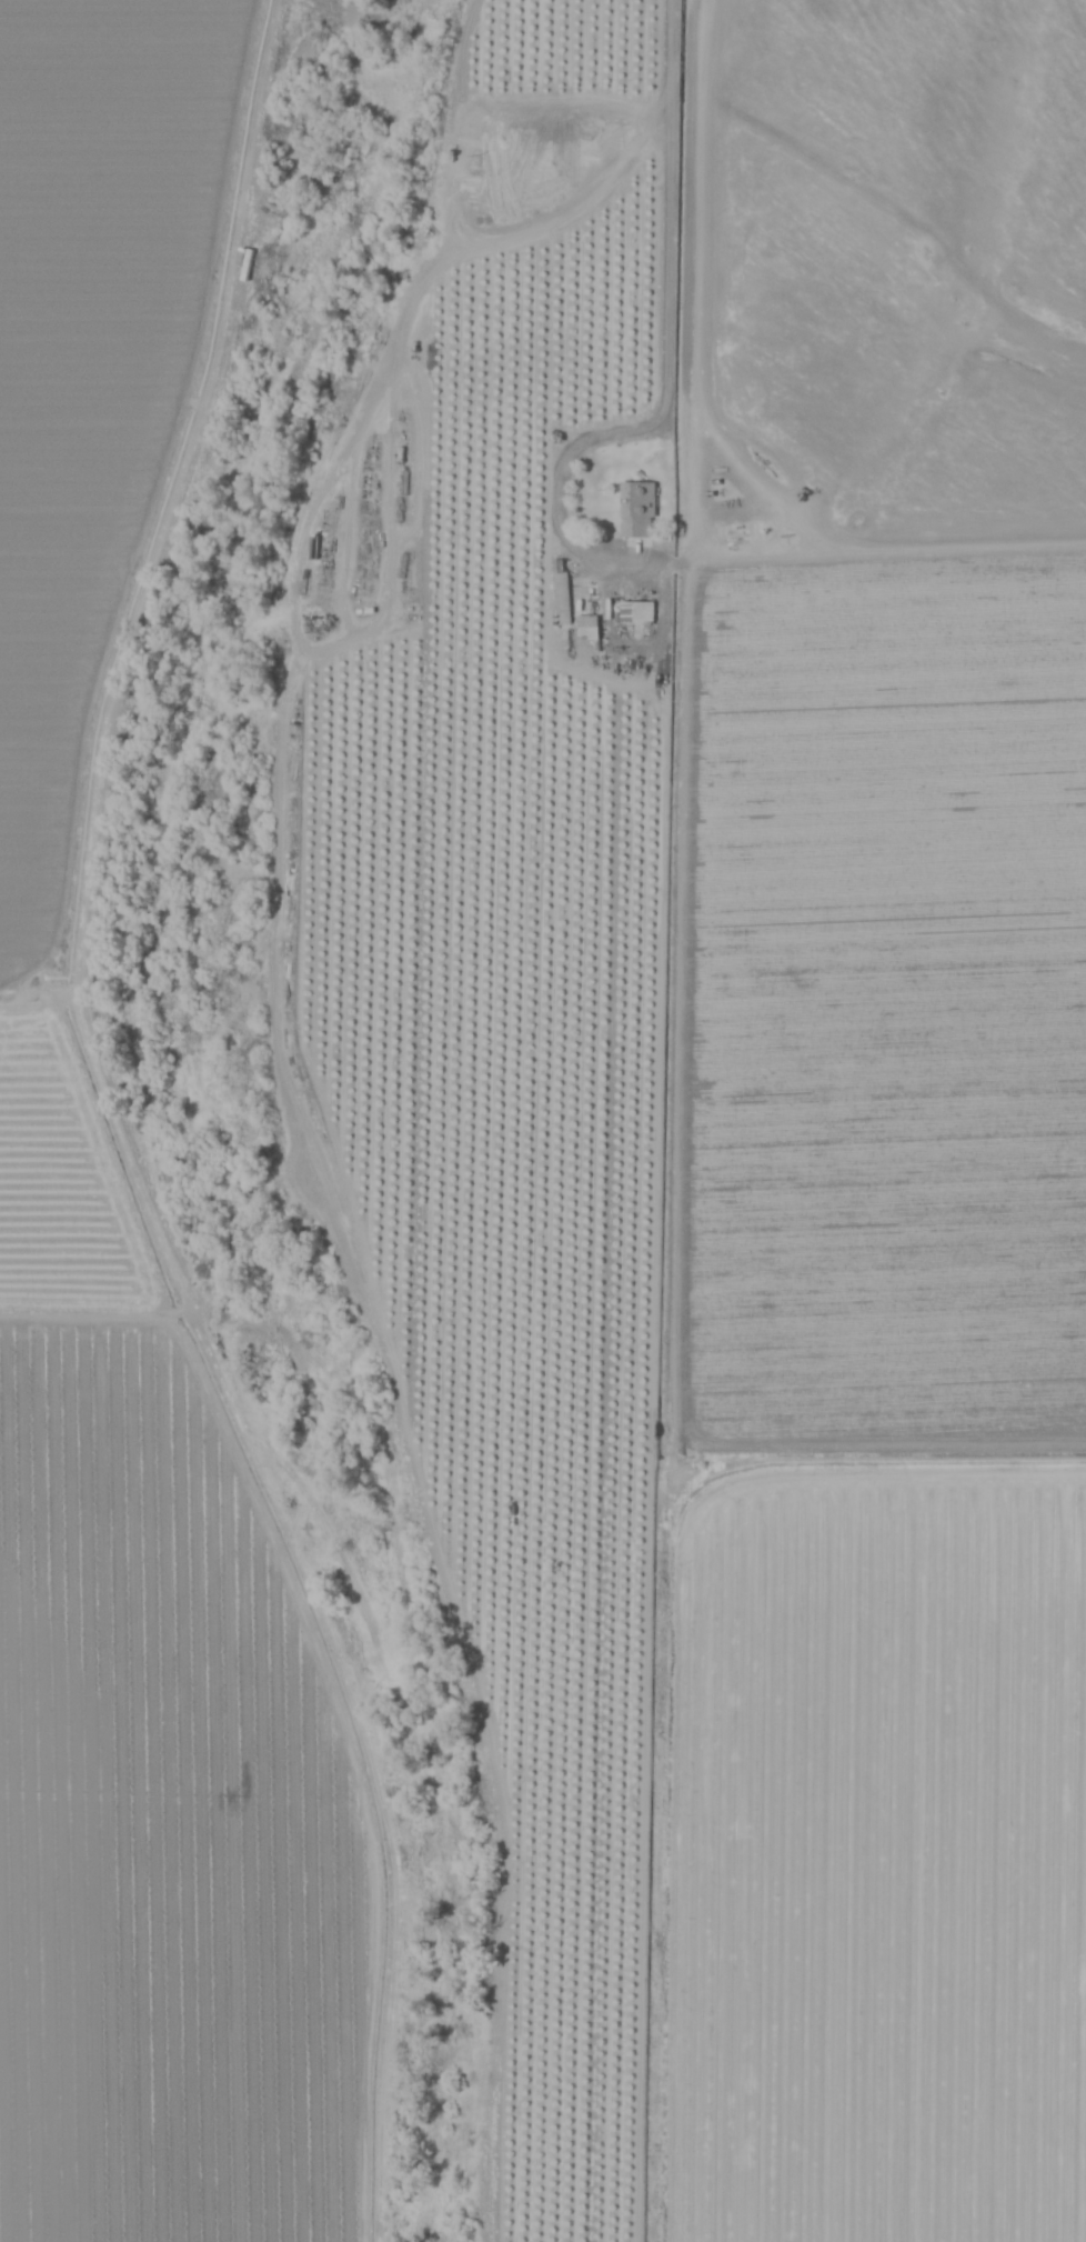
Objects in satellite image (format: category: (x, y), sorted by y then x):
road: (667, 236)
building: (243, 264)
building: (635, 510)
building: (561, 593)
building: (635, 612)
building: (586, 627)
road: (109, 660)
crop: (550, 1225)

